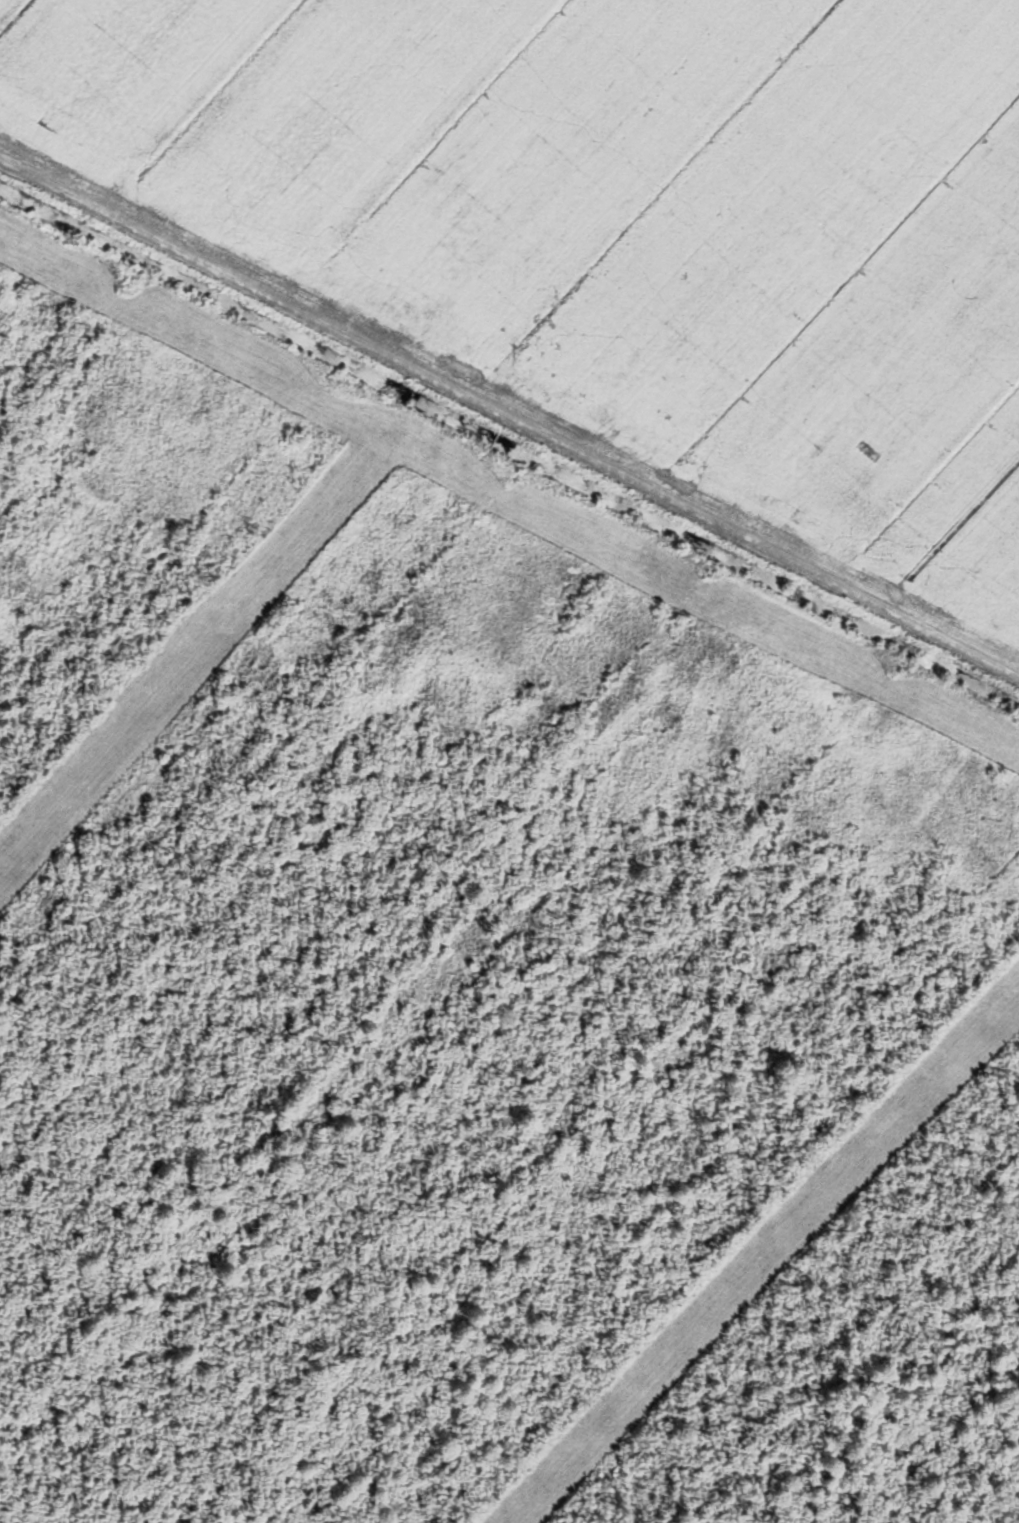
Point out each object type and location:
crop: (617, 230)
road: (509, 422)

